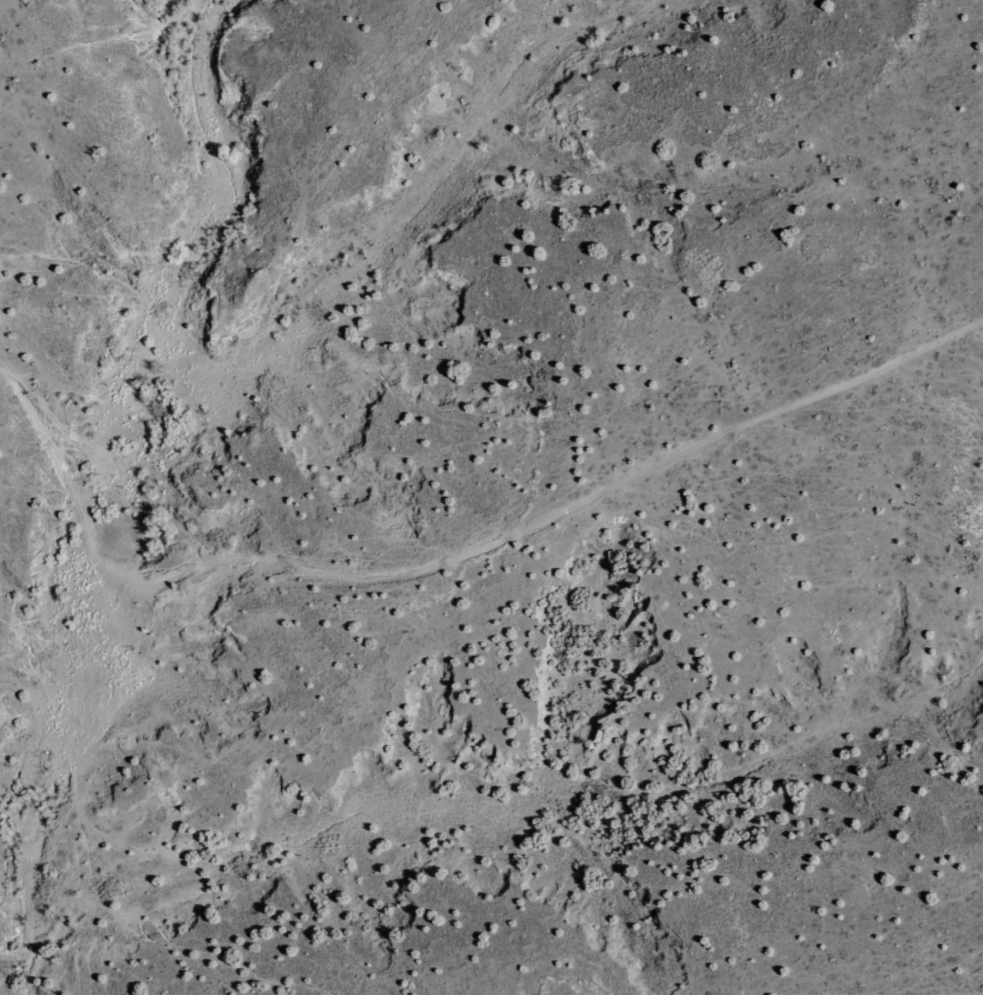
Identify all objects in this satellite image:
road: (476, 529)

